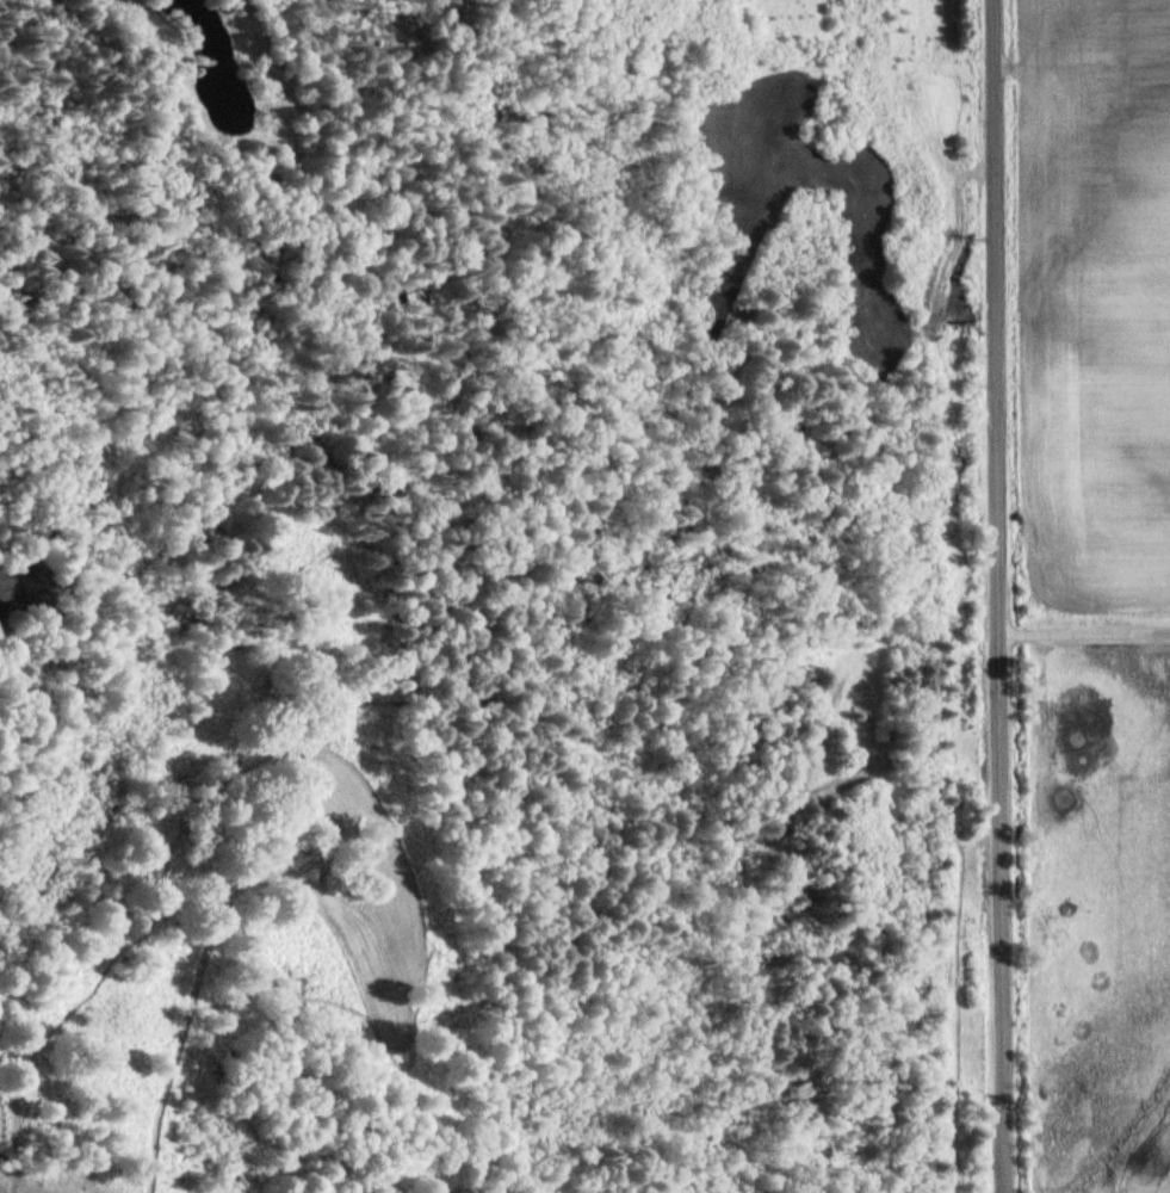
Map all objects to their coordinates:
road: (1001, 483)
road: (1008, 1080)

